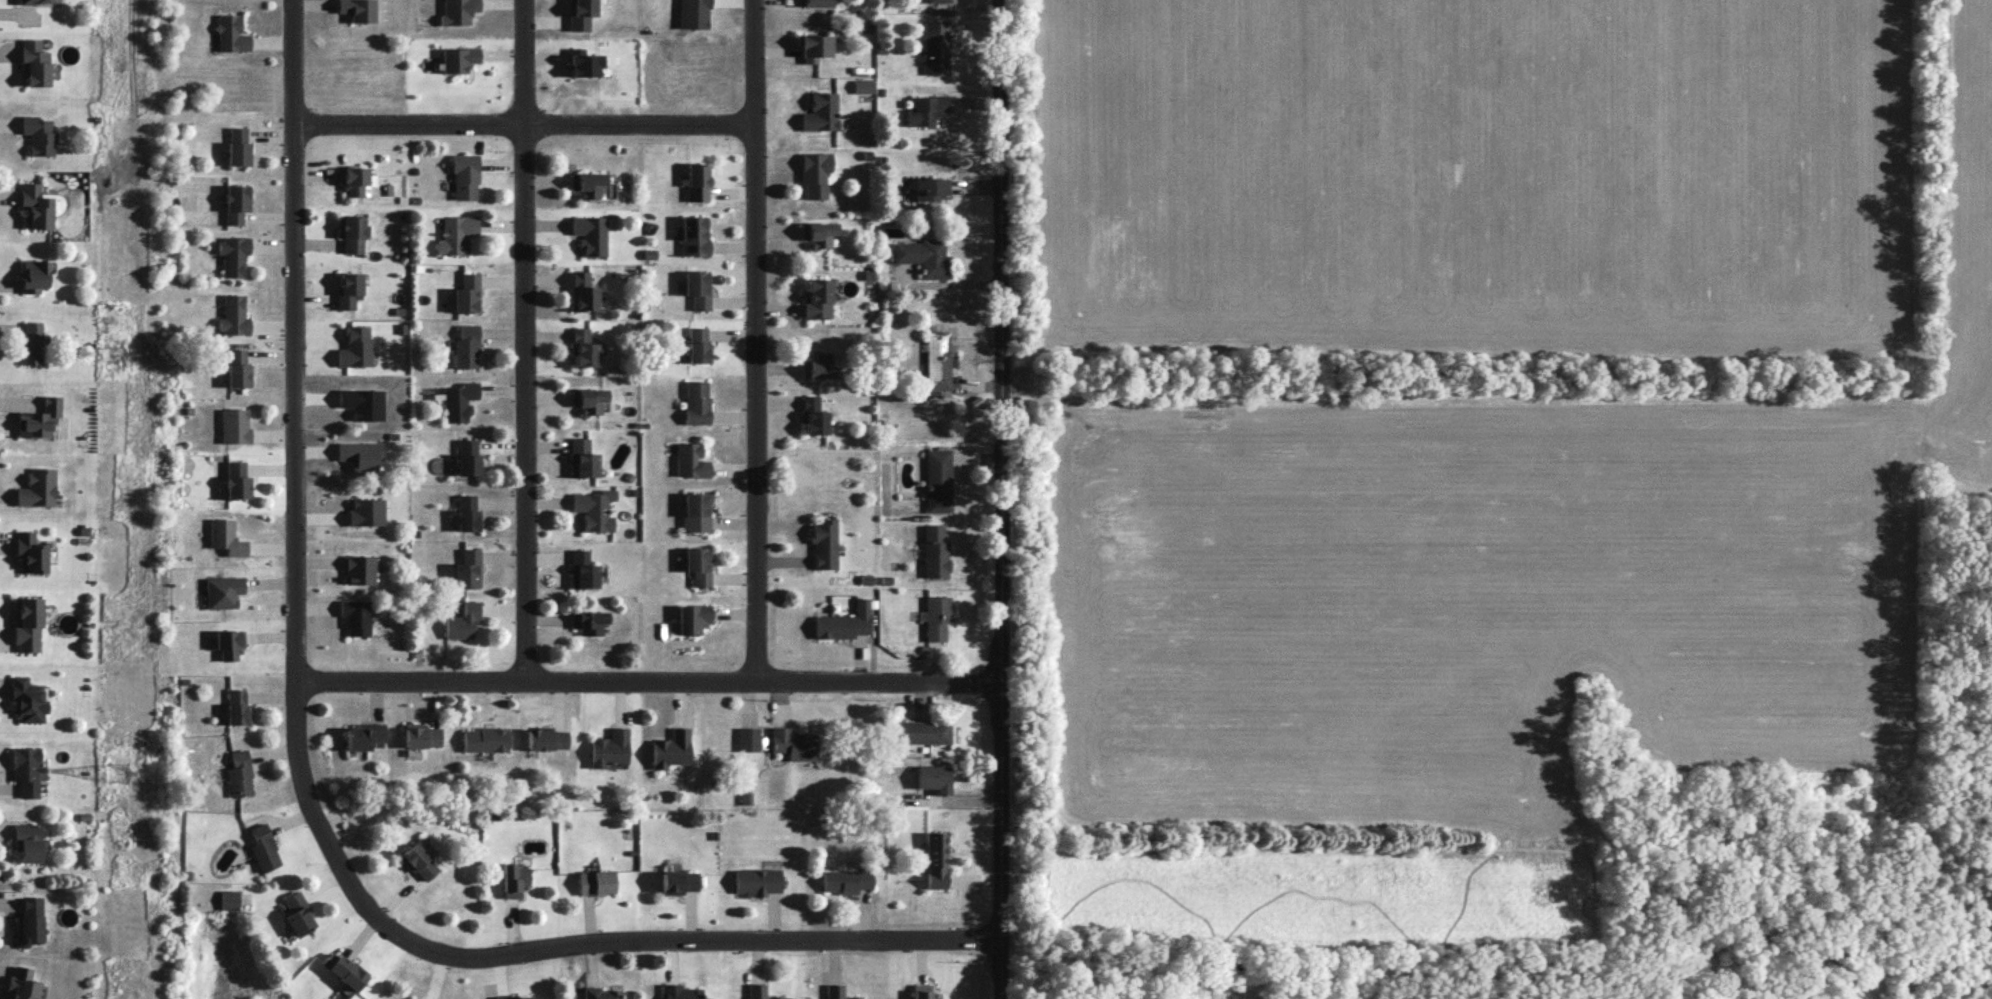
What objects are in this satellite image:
building: (37, 1)
building: (937, 1)
building: (816, 3)
building: (357, 9)
building: (457, 11)
building: (580, 13)
building: (692, 14)
building: (230, 34)
building: (813, 47)
building: (935, 47)
building: (457, 59)
building: (34, 63)
building: (582, 63)
road: (524, 64)
building: (861, 86)
building: (924, 109)
building: (819, 112)
road: (526, 128)
building: (38, 135)
building: (238, 147)
building: (815, 173)
building: (464, 176)
building: (354, 180)
building: (695, 182)
building: (586, 183)
building: (929, 188)
building: (235, 202)
building: (35, 205)
building: (351, 233)
building: (818, 233)
building: (456, 234)
building: (589, 234)
building: (692, 235)
building: (232, 255)
building: (923, 256)
building: (33, 275)
road: (950, 283)
building: (696, 288)
building: (348, 289)
building: (581, 291)
building: (466, 293)
building: (817, 299)
building: (233, 315)
road: (299, 338)
road: (755, 339)
building: (31, 343)
building: (696, 345)
building: (466, 346)
building: (355, 347)
building: (581, 347)
power tower: (115, 354)
building: (936, 360)
building: (818, 365)
building: (237, 367)
building: (588, 400)
building: (458, 401)
building: (696, 401)
road: (528, 403)
building: (812, 416)
building: (39, 418)
building: (234, 425)
building: (362, 456)
building: (467, 456)
building: (582, 457)
building: (690, 460)
building: (237, 480)
building: (937, 480)
building: (38, 487)
road: (1007, 499)
building: (594, 509)
building: (695, 511)
building: (366, 512)
building: (467, 513)
building: (226, 537)
building: (823, 543)
building: (934, 551)
building: (31, 552)
building: (698, 565)
building: (360, 569)
building: (467, 569)
building: (582, 569)
building: (223, 591)
building: (356, 616)
building: (935, 616)
building: (692, 618)
building: (462, 621)
building: (589, 621)
building: (843, 622)
building: (27, 624)
building: (230, 643)
road: (655, 678)
building: (28, 699)
building: (237, 707)
building: (920, 731)
building: (421, 735)
building: (365, 736)
building: (545, 738)
building: (748, 738)
building: (484, 739)
building: (793, 743)
building: (609, 748)
building: (671, 748)
building: (26, 770)
power tower: (117, 773)
building: (239, 774)
building: (934, 777)
building: (28, 842)
building: (263, 848)
building: (419, 859)
building: (936, 860)
building: (513, 879)
building: (847, 880)
building: (679, 881)
building: (758, 881)
building: (596, 882)
building: (228, 899)
building: (297, 913)
building: (30, 920)
road: (562, 943)
building: (343, 969)
building: (21, 983)
building: (680, 991)
building: (761, 991)
building: (923, 991)
building: (837, 992)
building: (600, 993)
building: (513, 997)
building: (421, 998)

